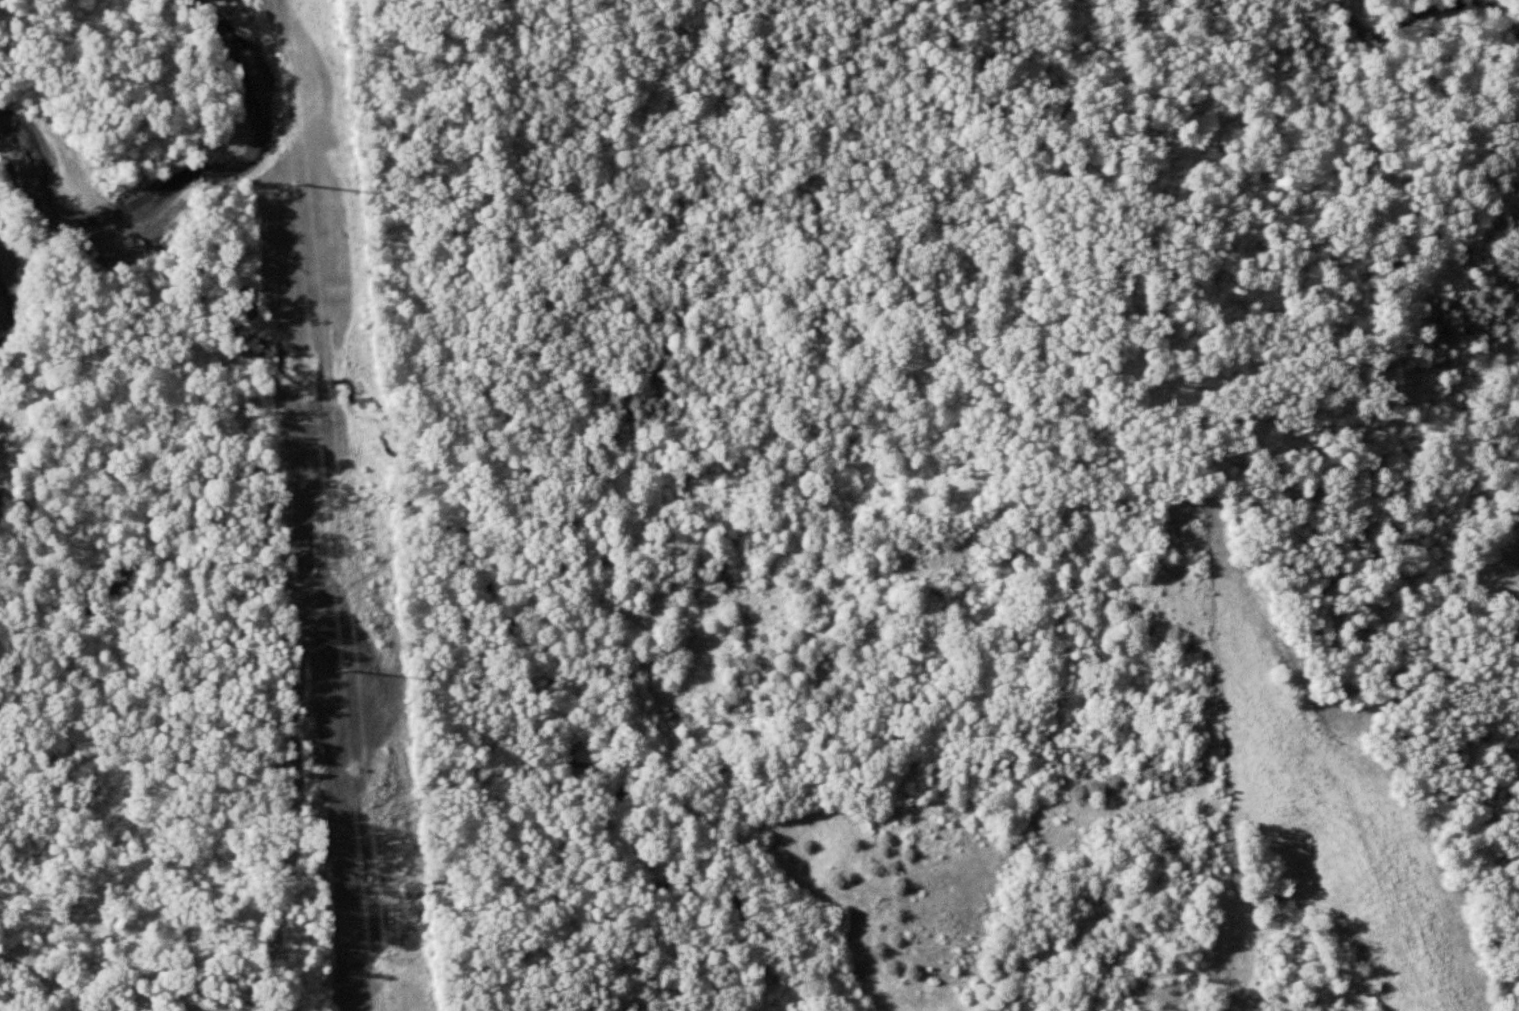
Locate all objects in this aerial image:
power tower: (292, 184)
power tower: (339, 672)

